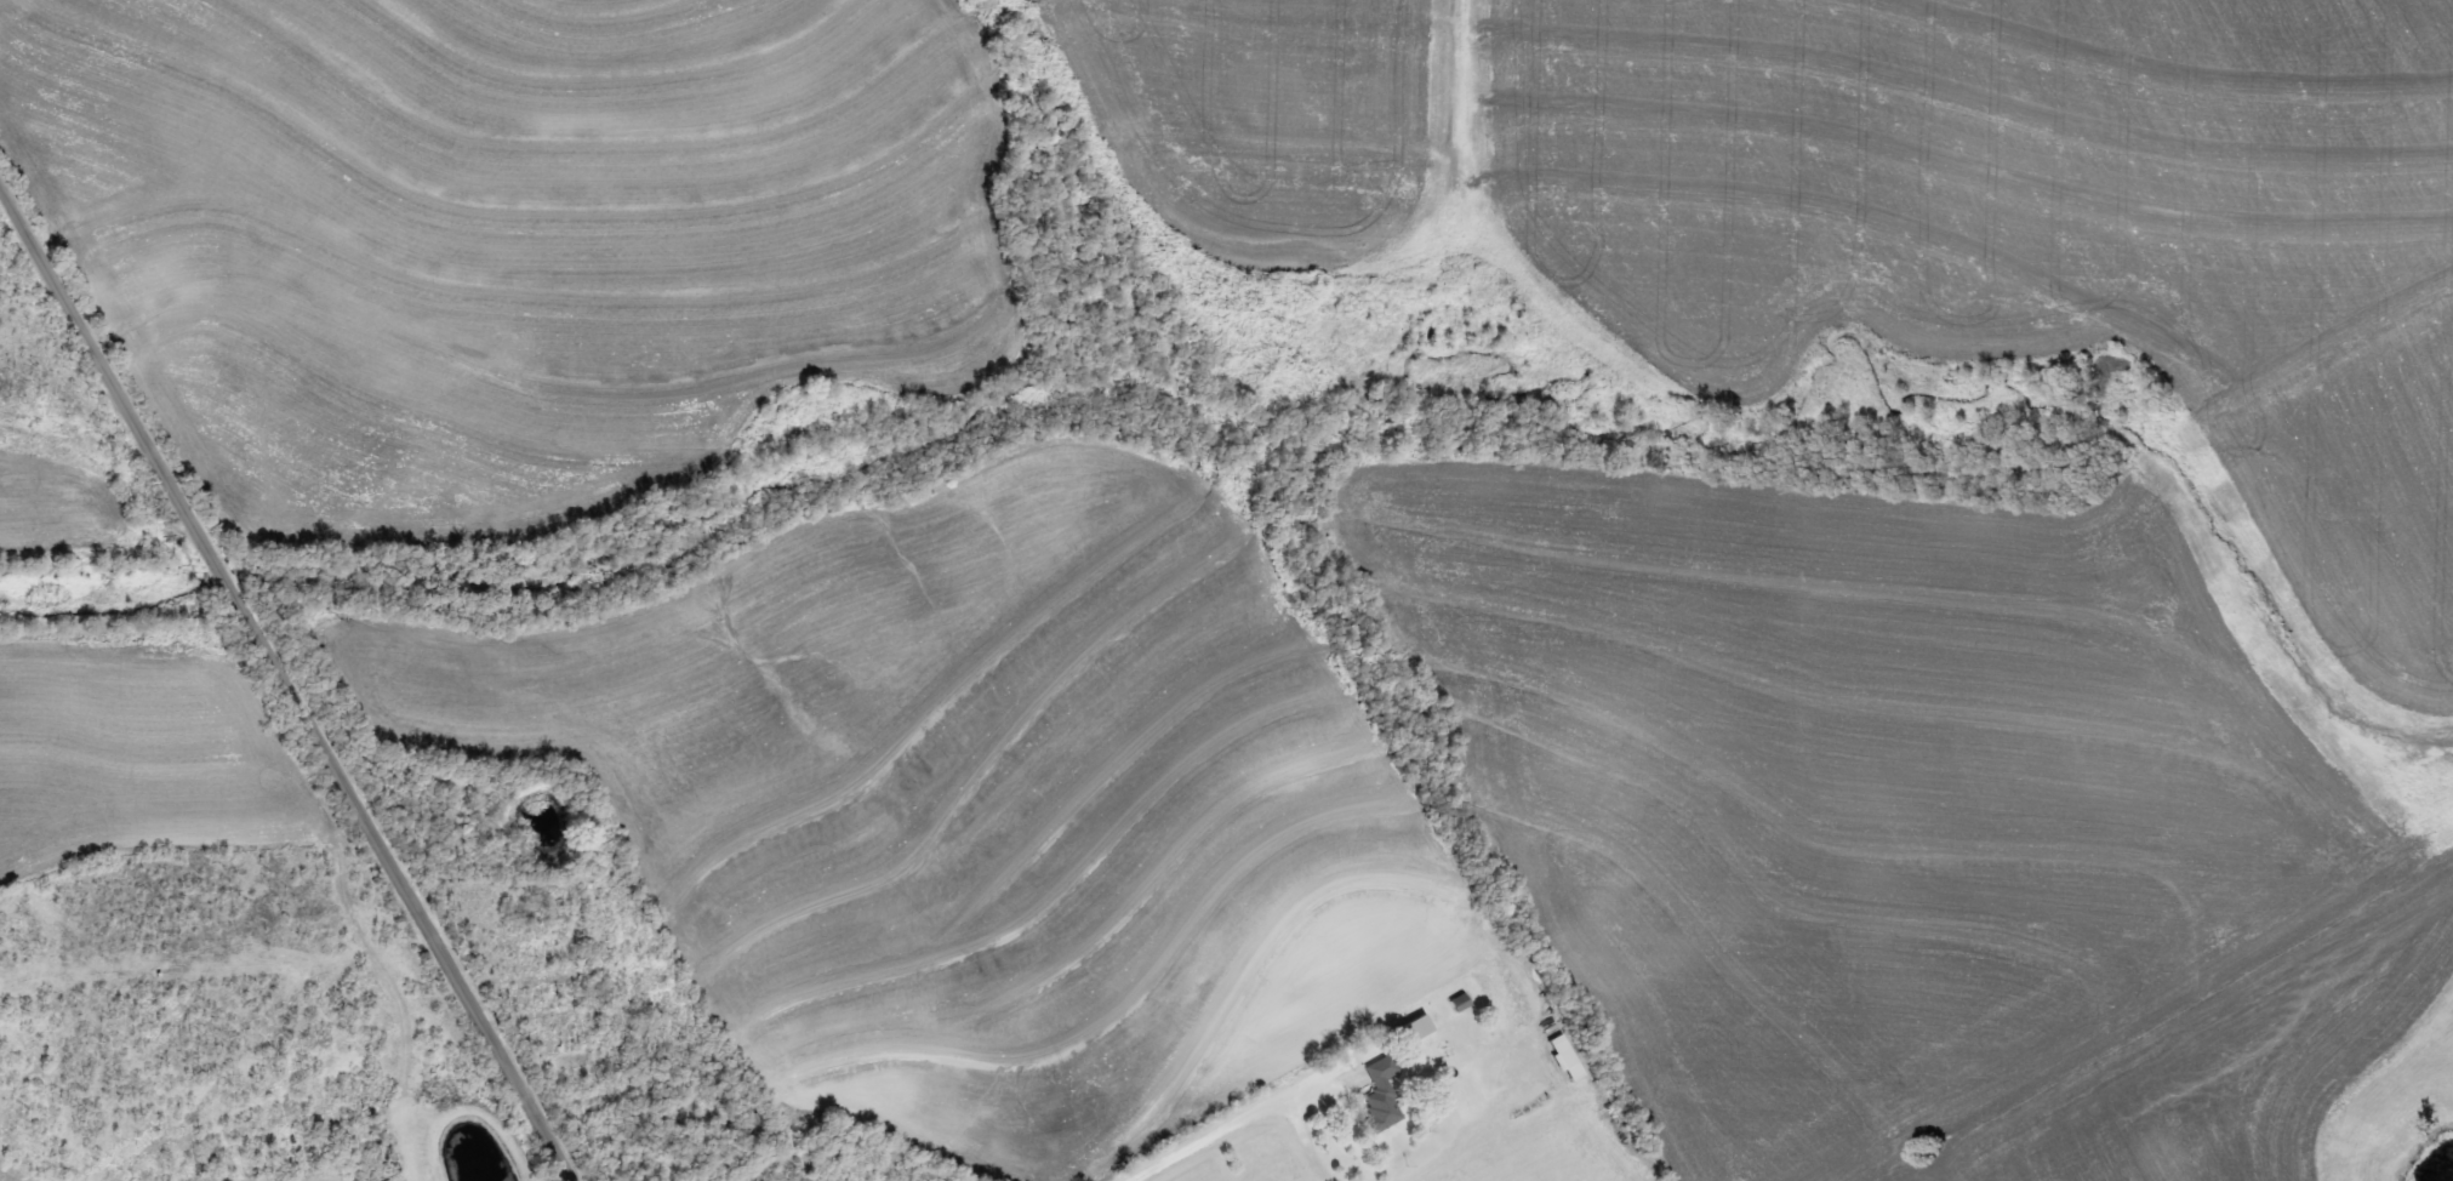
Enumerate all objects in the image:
road: (291, 673)
building: (1565, 1057)
building: (1384, 1095)
building: (758, 1122)

